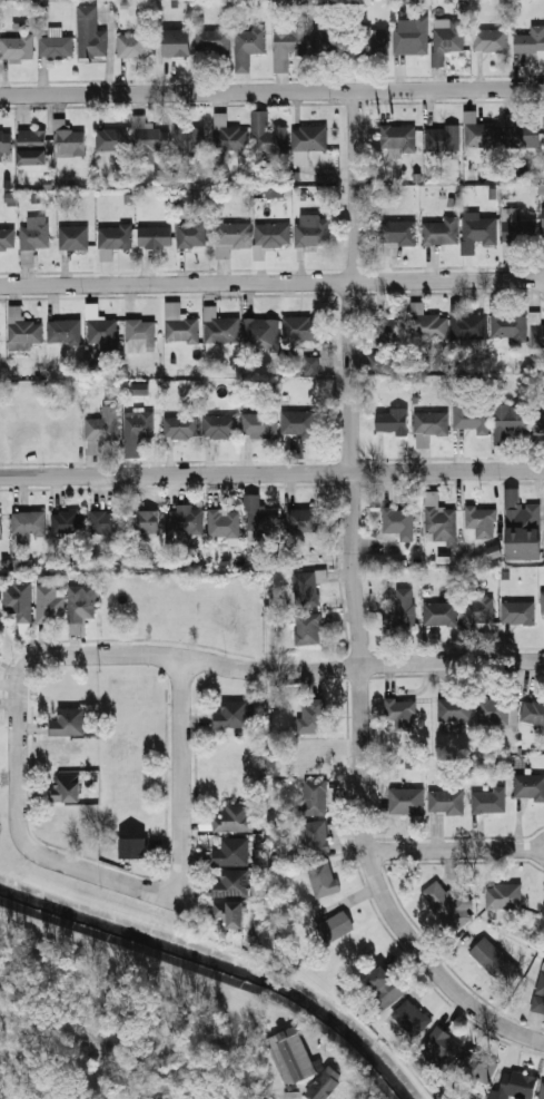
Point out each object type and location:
building: (301, 12)
building: (90, 33)
building: (412, 38)
building: (446, 39)
building: (491, 40)
building: (531, 40)
building: (214, 41)
building: (372, 41)
building: (288, 42)
building: (174, 43)
building: (330, 43)
building: (56, 45)
building: (132, 46)
building: (248, 47)
building: (17, 48)
road: (271, 89)
building: (543, 114)
building: (481, 133)
building: (228, 135)
building: (267, 135)
building: (526, 135)
building: (397, 136)
building: (442, 137)
building: (152, 138)
building: (189, 138)
building: (309, 138)
building: (112, 139)
building: (71, 140)
building: (6, 146)
building: (32, 147)
building: (275, 193)
building: (543, 218)
building: (311, 229)
building: (477, 230)
building: (439, 232)
building: (517, 232)
building: (399, 233)
building: (36, 234)
building: (192, 234)
building: (273, 235)
building: (155, 236)
building: (75, 237)
building: (231, 237)
building: (7, 238)
building: (115, 238)
road: (271, 282)
building: (467, 323)
building: (427, 324)
building: (180, 325)
building: (508, 326)
building: (220, 327)
building: (300, 327)
building: (22, 330)
building: (260, 331)
building: (66, 332)
building: (102, 332)
building: (390, 332)
building: (537, 333)
building: (140, 335)
building: (311, 365)
building: (140, 389)
building: (472, 414)
building: (392, 420)
building: (538, 421)
building: (297, 422)
building: (508, 422)
building: (259, 424)
building: (102, 426)
building: (181, 426)
building: (220, 426)
building: (429, 426)
building: (137, 432)
road: (271, 471)
building: (257, 510)
building: (439, 519)
building: (187, 520)
building: (305, 520)
building: (483, 520)
building: (68, 522)
building: (105, 522)
building: (225, 522)
building: (146, 523)
building: (1, 524)
building: (28, 526)
building: (396, 528)
building: (523, 528)
building: (493, 551)
building: (307, 587)
building: (543, 601)
building: (81, 604)
building: (50, 605)
building: (19, 606)
road: (353, 607)
building: (400, 608)
building: (478, 610)
building: (441, 612)
building: (518, 612)
building: (308, 628)
road: (257, 670)
building: (455, 709)
building: (493, 709)
building: (532, 712)
building: (402, 713)
building: (231, 714)
building: (313, 717)
building: (68, 722)
road: (178, 747)
building: (528, 786)
building: (66, 787)
building: (314, 797)
building: (488, 799)
building: (407, 801)
building: (447, 802)
building: (235, 818)
building: (67, 820)
building: (317, 836)
building: (135, 848)
road: (455, 850)
building: (231, 852)
road: (65, 863)
building: (323, 879)
building: (233, 883)
building: (504, 896)
building: (449, 906)
building: (231, 913)
building: (336, 926)
river: (226, 956)
building: (495, 962)
building: (541, 987)
building: (385, 988)
building: (412, 1018)
building: (443, 1046)
building: (291, 1056)
building: (478, 1069)
building: (325, 1082)
building: (515, 1086)
building: (542, 1090)
building: (467, 1098)

